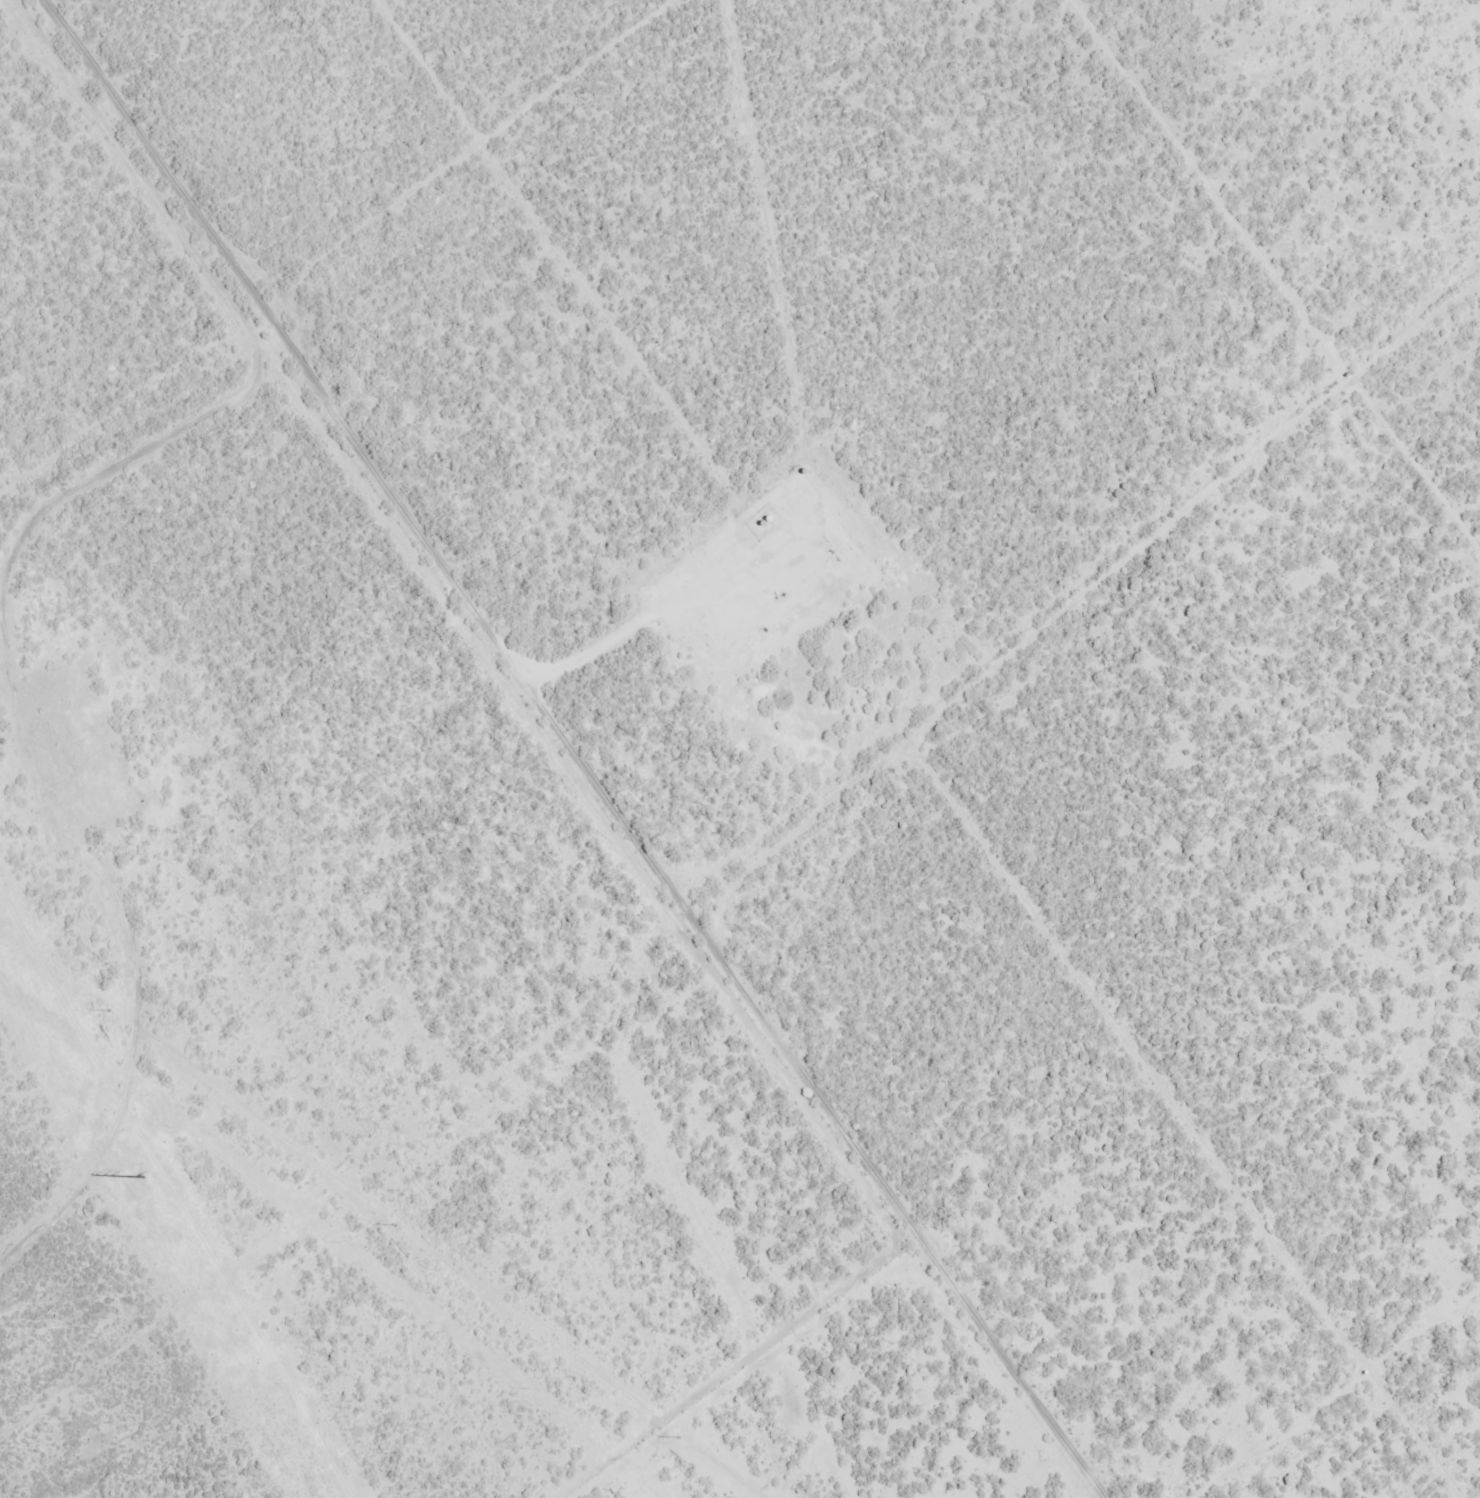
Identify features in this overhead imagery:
road: (225, 308)
road: (105, 981)
power tower: (106, 1008)
power tower: (142, 1178)
power tower: (392, 1223)
power tower: (675, 1437)

